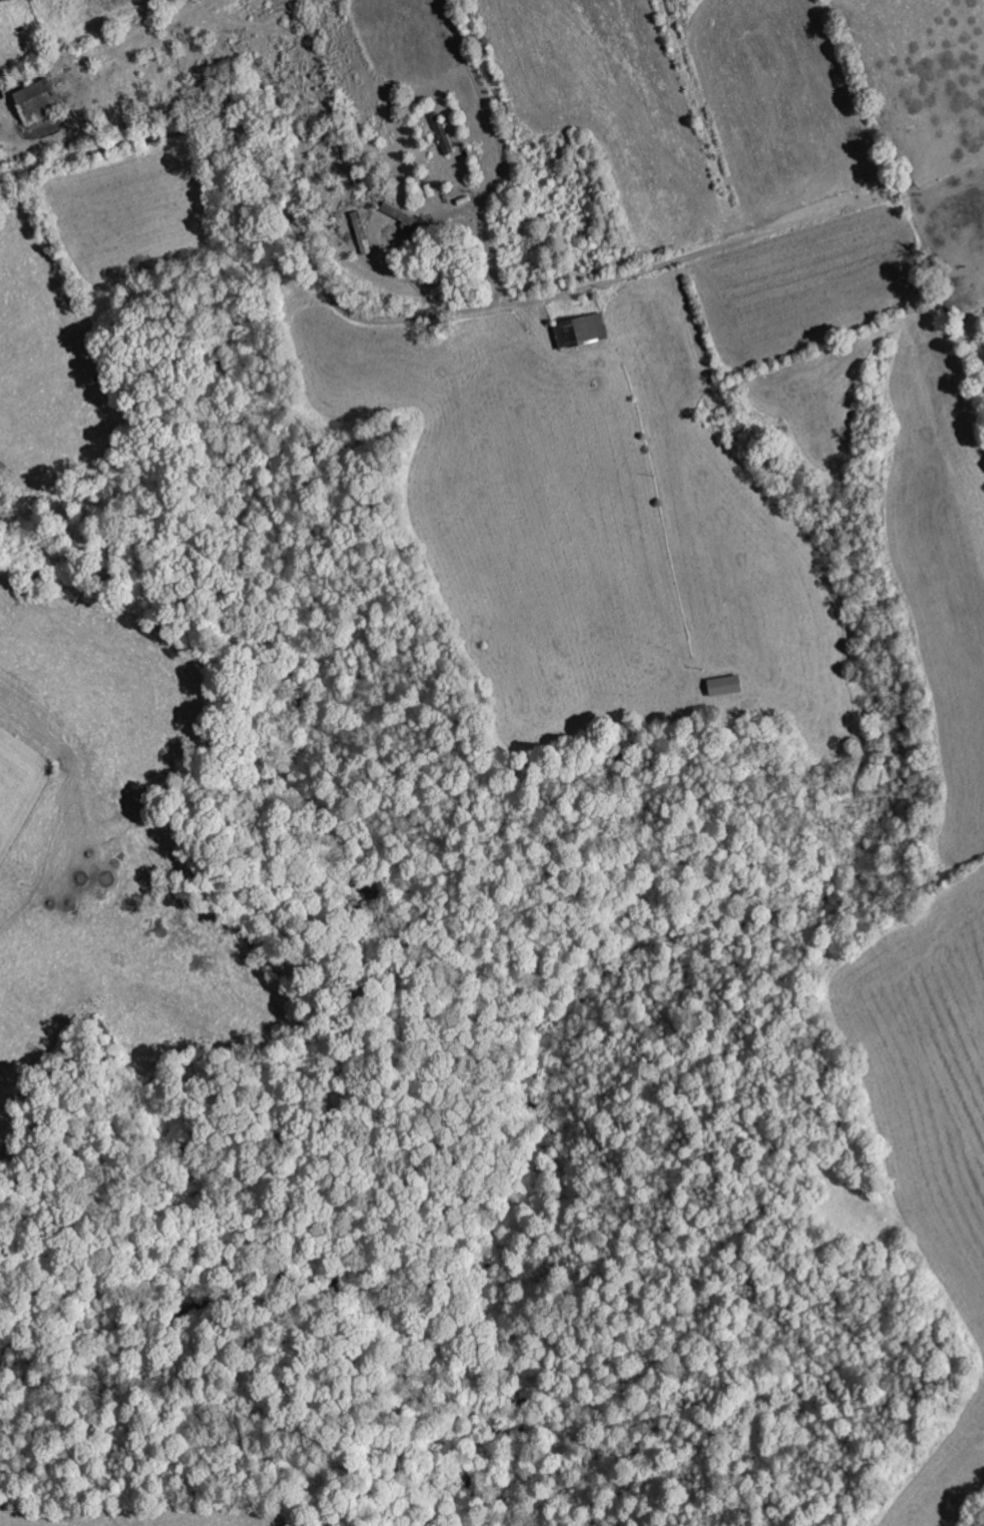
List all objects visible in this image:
building: (35, 98)
building: (441, 133)
road: (437, 284)
building: (577, 331)
building: (723, 685)

